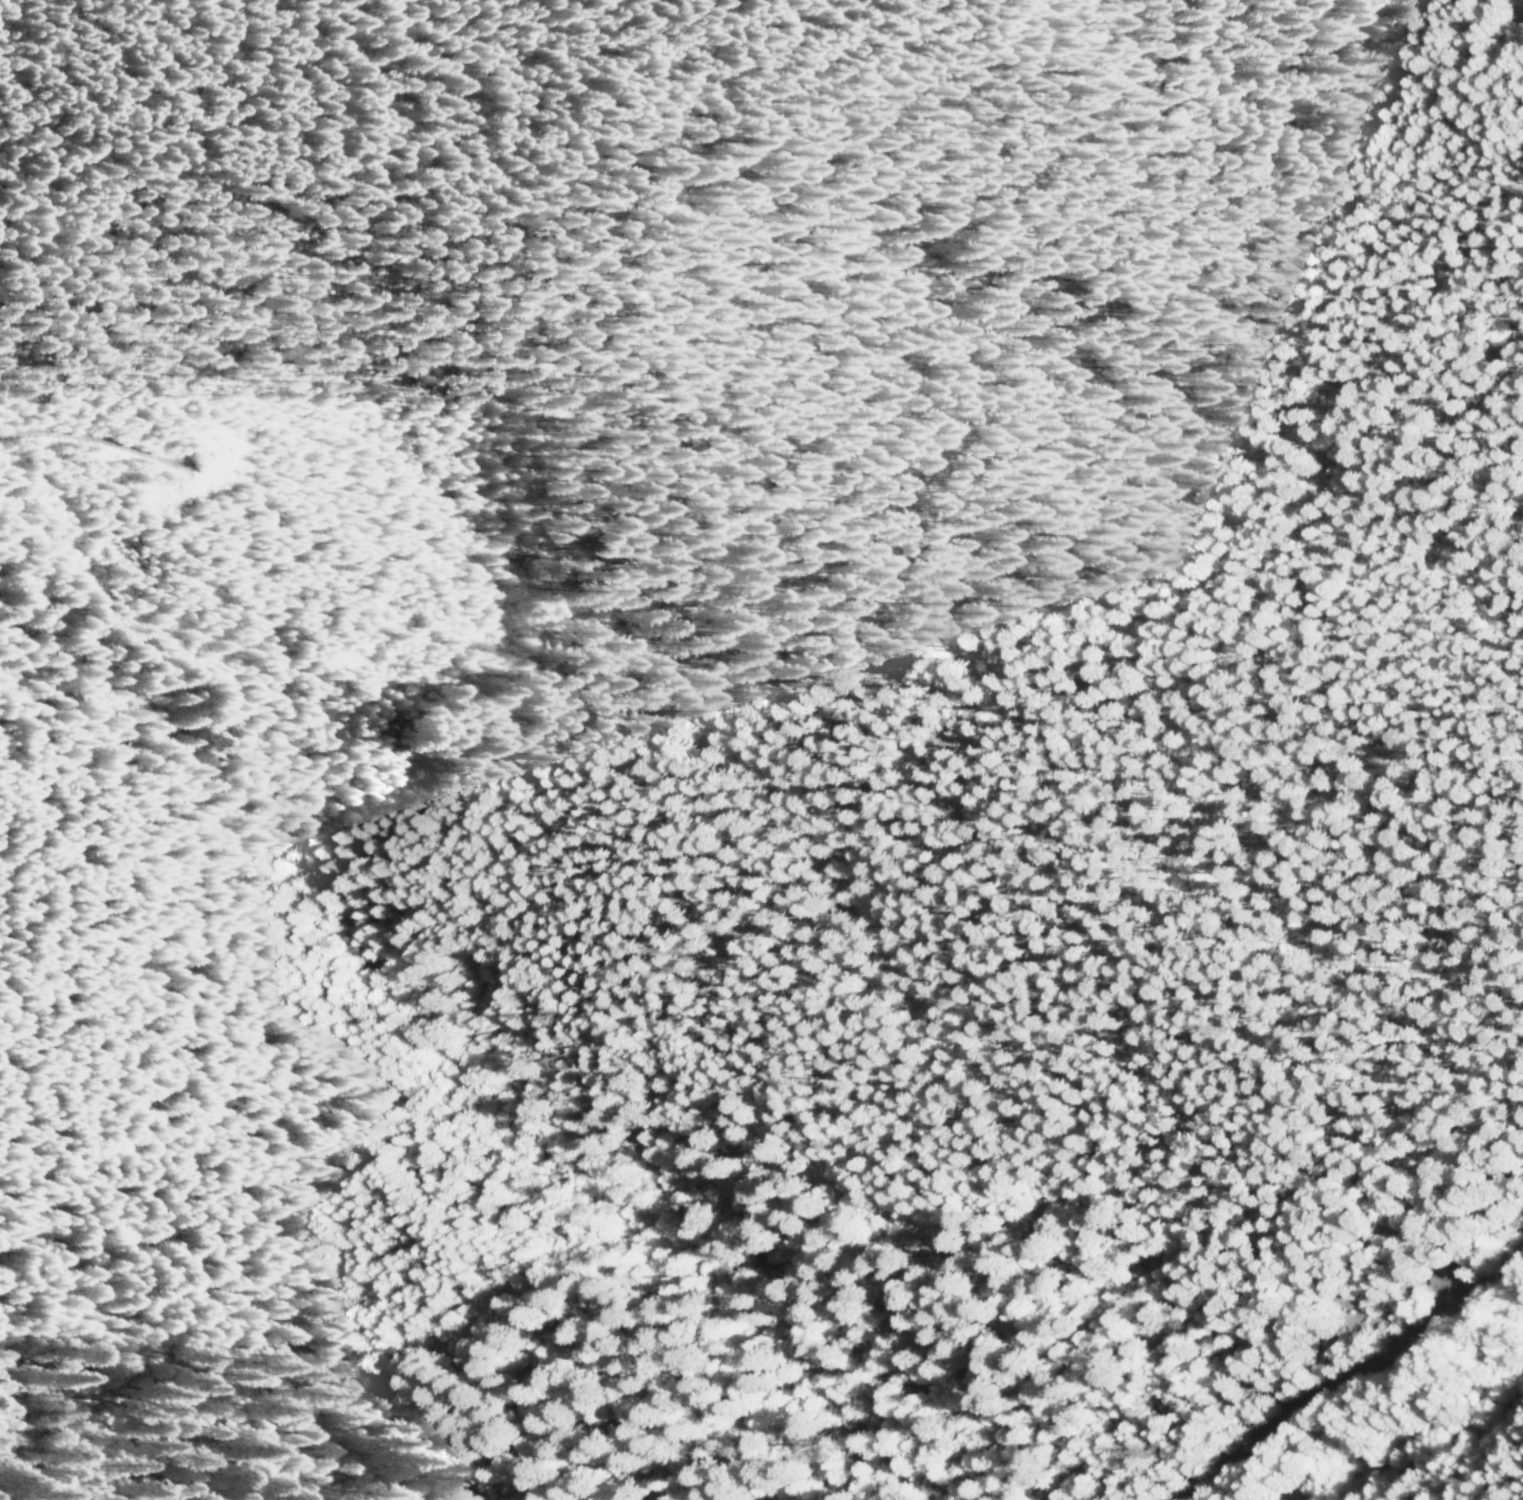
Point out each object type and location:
road: (1261, 1303)

